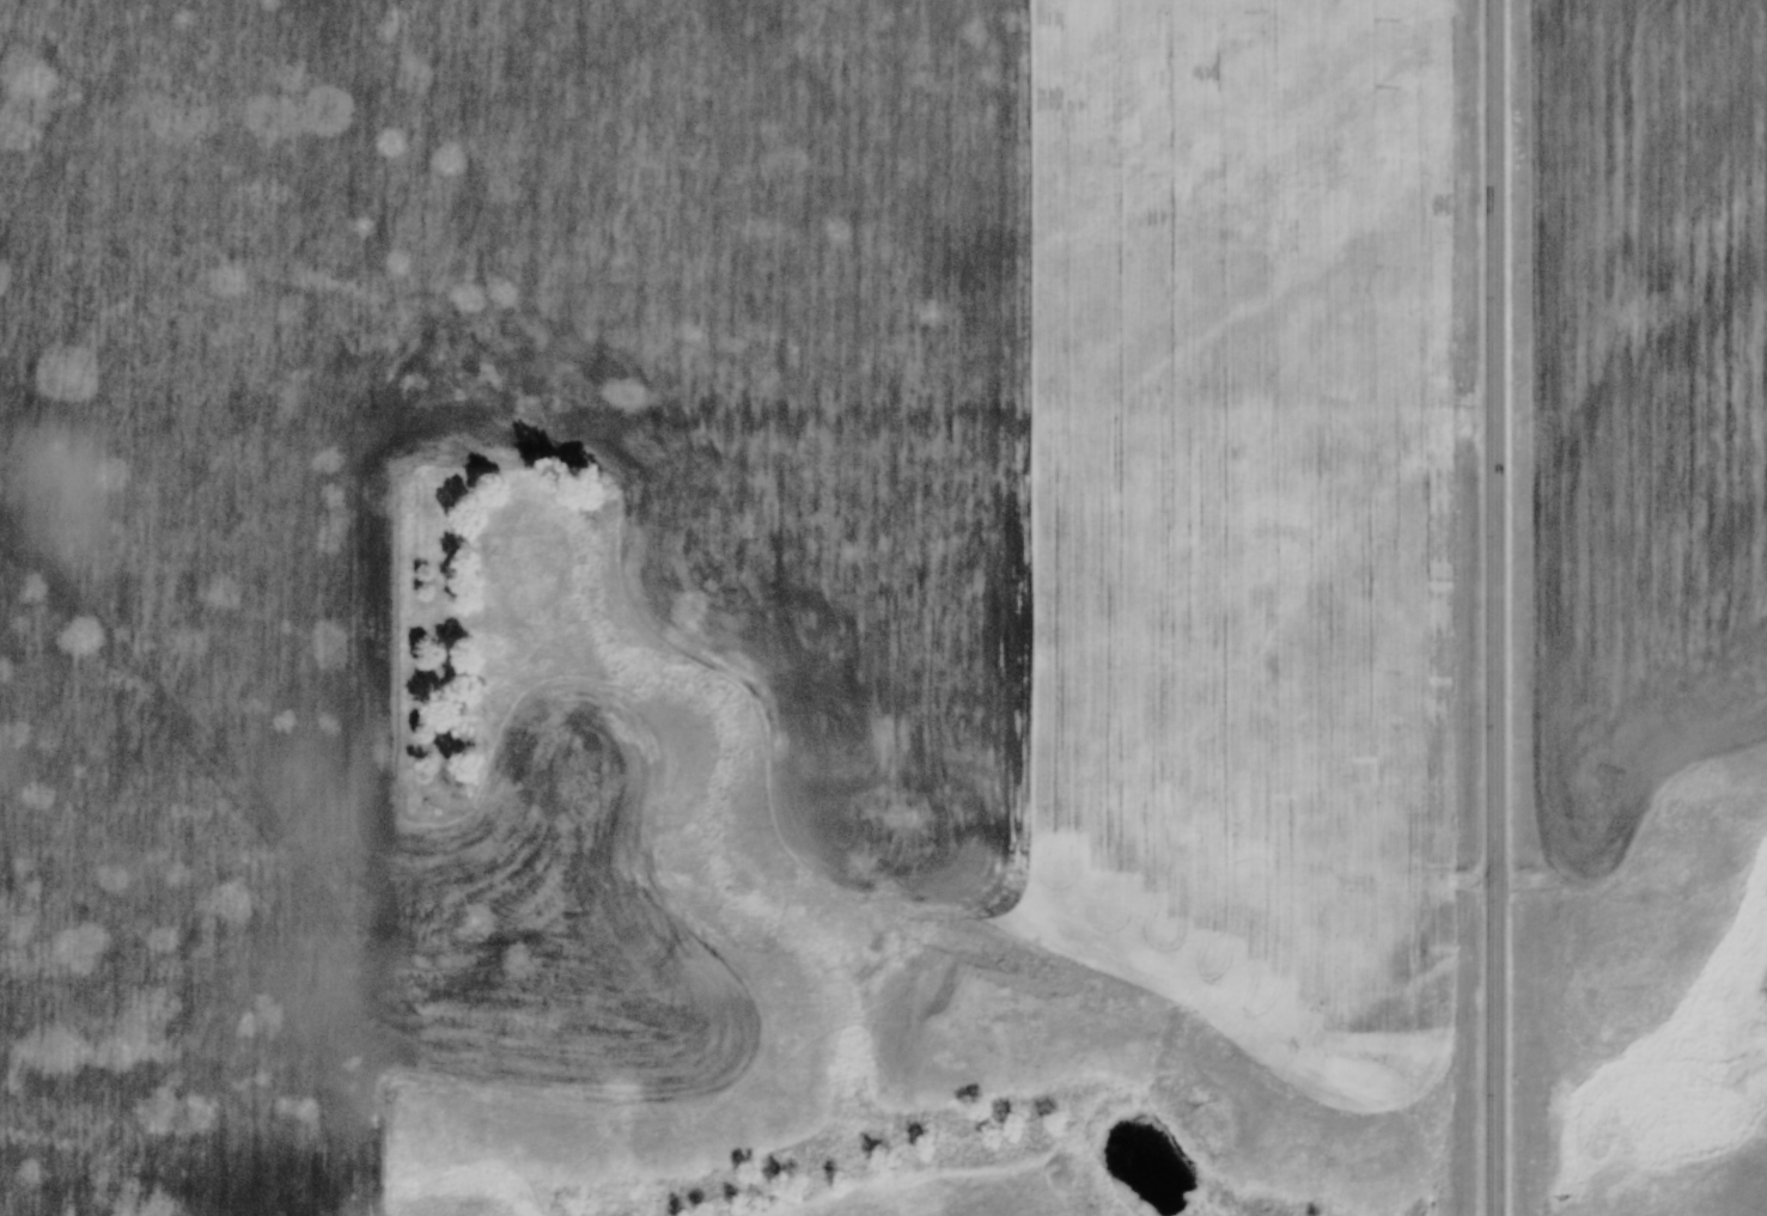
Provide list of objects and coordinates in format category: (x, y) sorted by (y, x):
road: (1494, 607)

